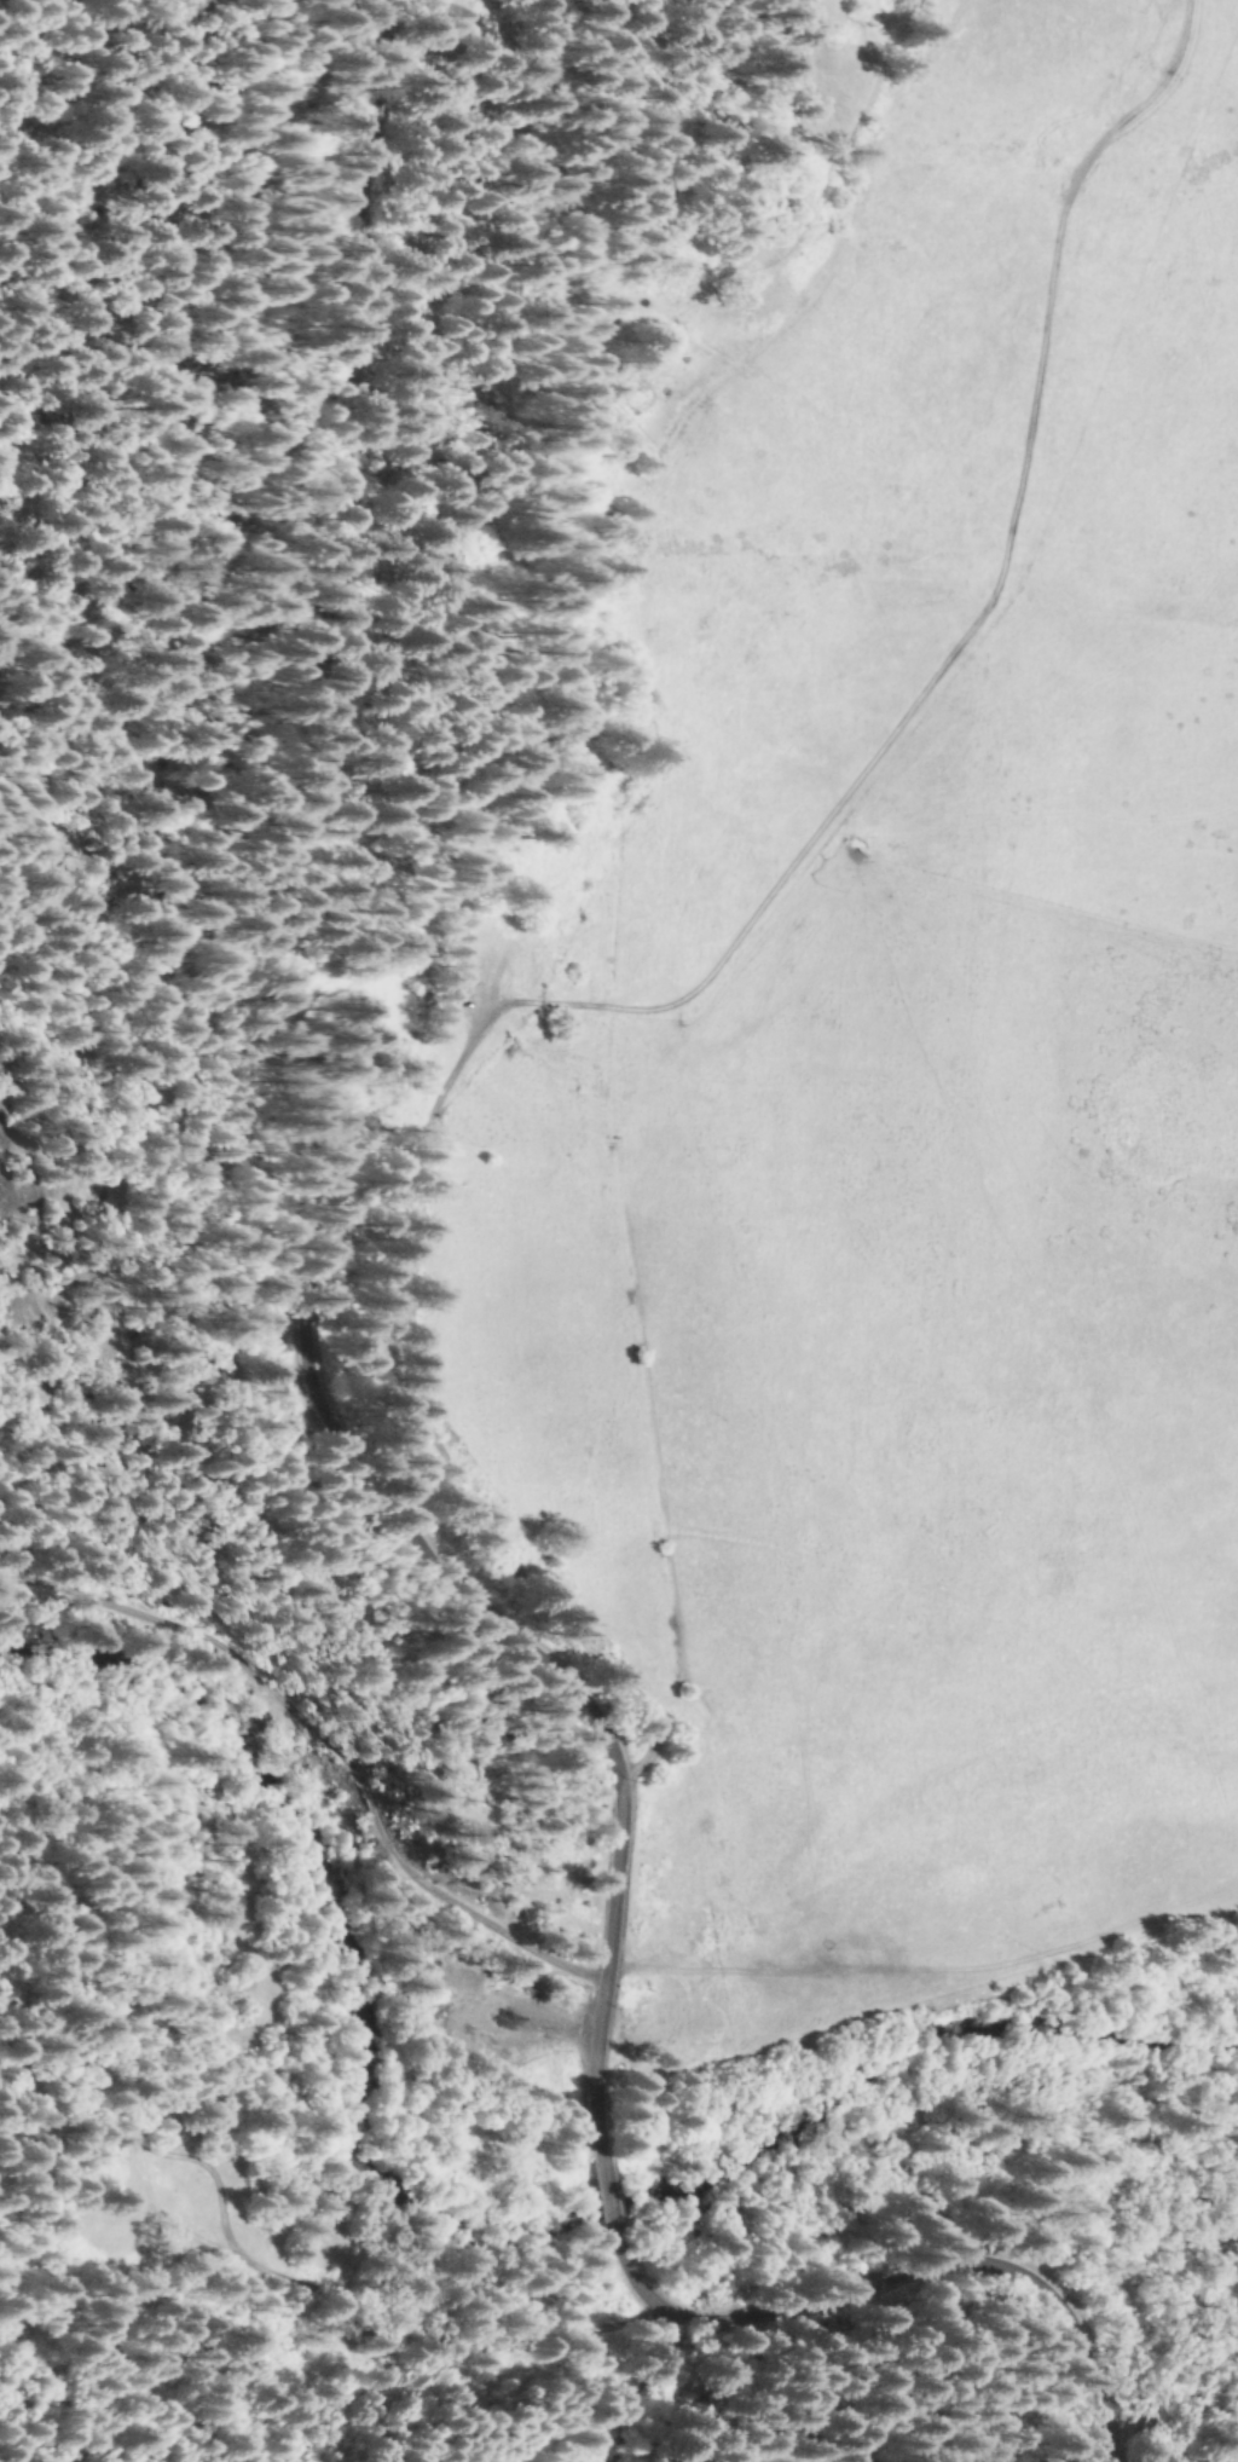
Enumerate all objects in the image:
road: (556, 485)
road: (688, 967)
parking lot: (479, 987)
road: (300, 1126)
road: (328, 1750)
road: (603, 2188)
road: (895, 2281)
road: (1203, 2313)
road: (1172, 2410)

